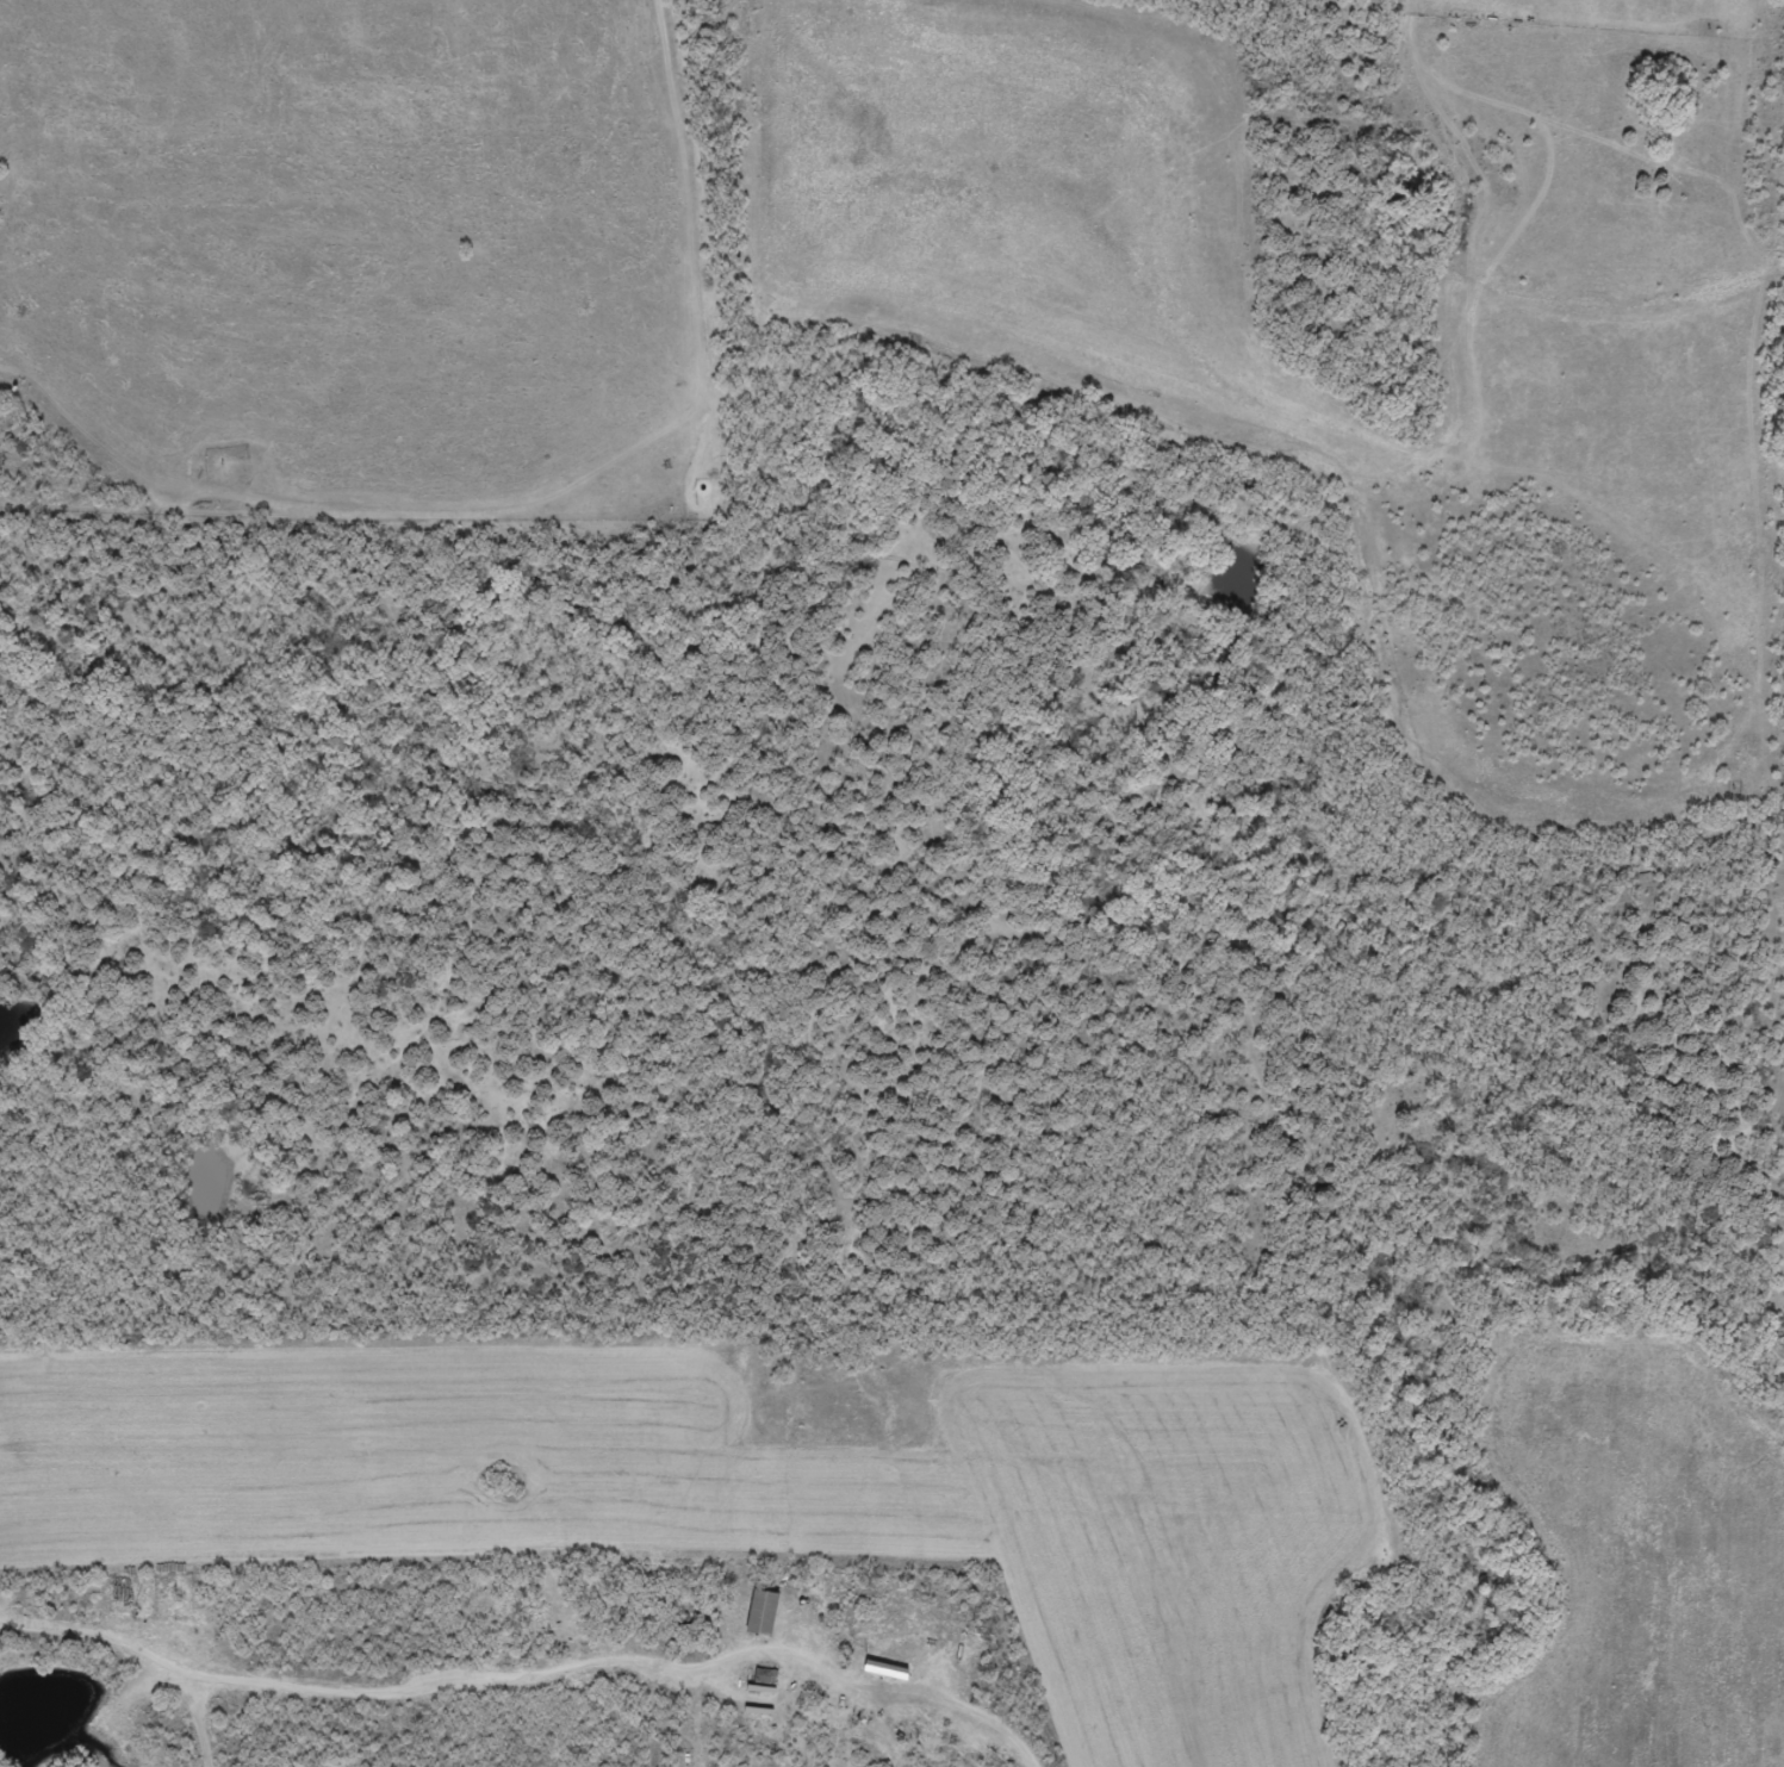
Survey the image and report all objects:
building: (763, 1620)
building: (885, 1678)
road: (492, 1681)

